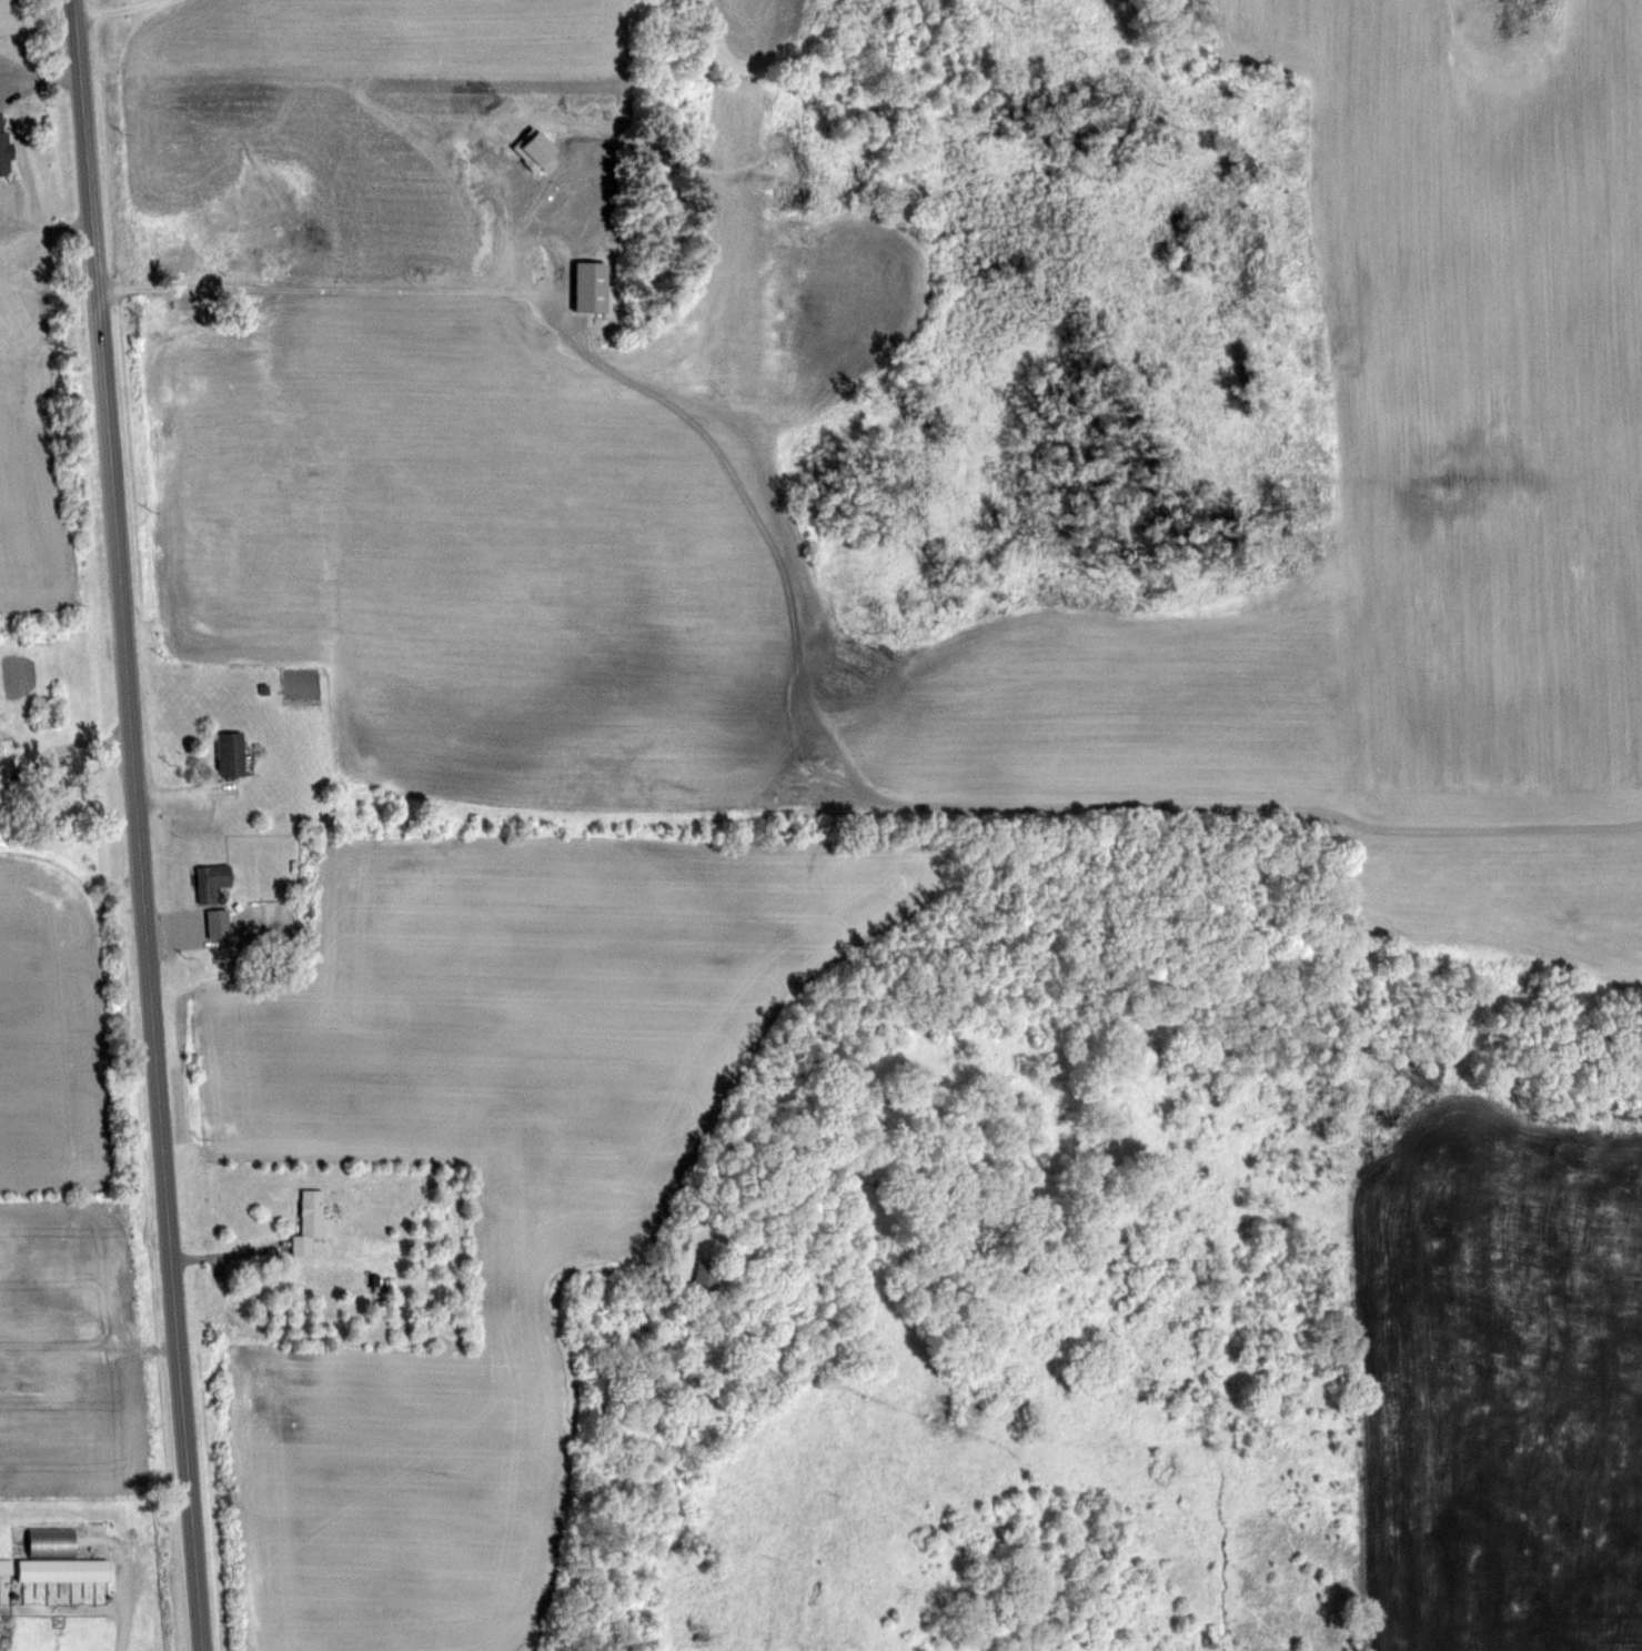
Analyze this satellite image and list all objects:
road: (117, 9)
road: (33, 82)
building: (2, 153)
building: (264, 202)
building: (169, 256)
road: (140, 288)
building: (48, 717)
road: (89, 741)
building: (230, 754)
road: (165, 803)
road: (139, 825)
building: (211, 879)
building: (219, 923)
road: (172, 925)
building: (309, 1221)
road: (229, 1254)
building: (98, 1271)
building: (707, 1276)
road: (154, 1348)
building: (80, 1377)
road: (127, 1594)

